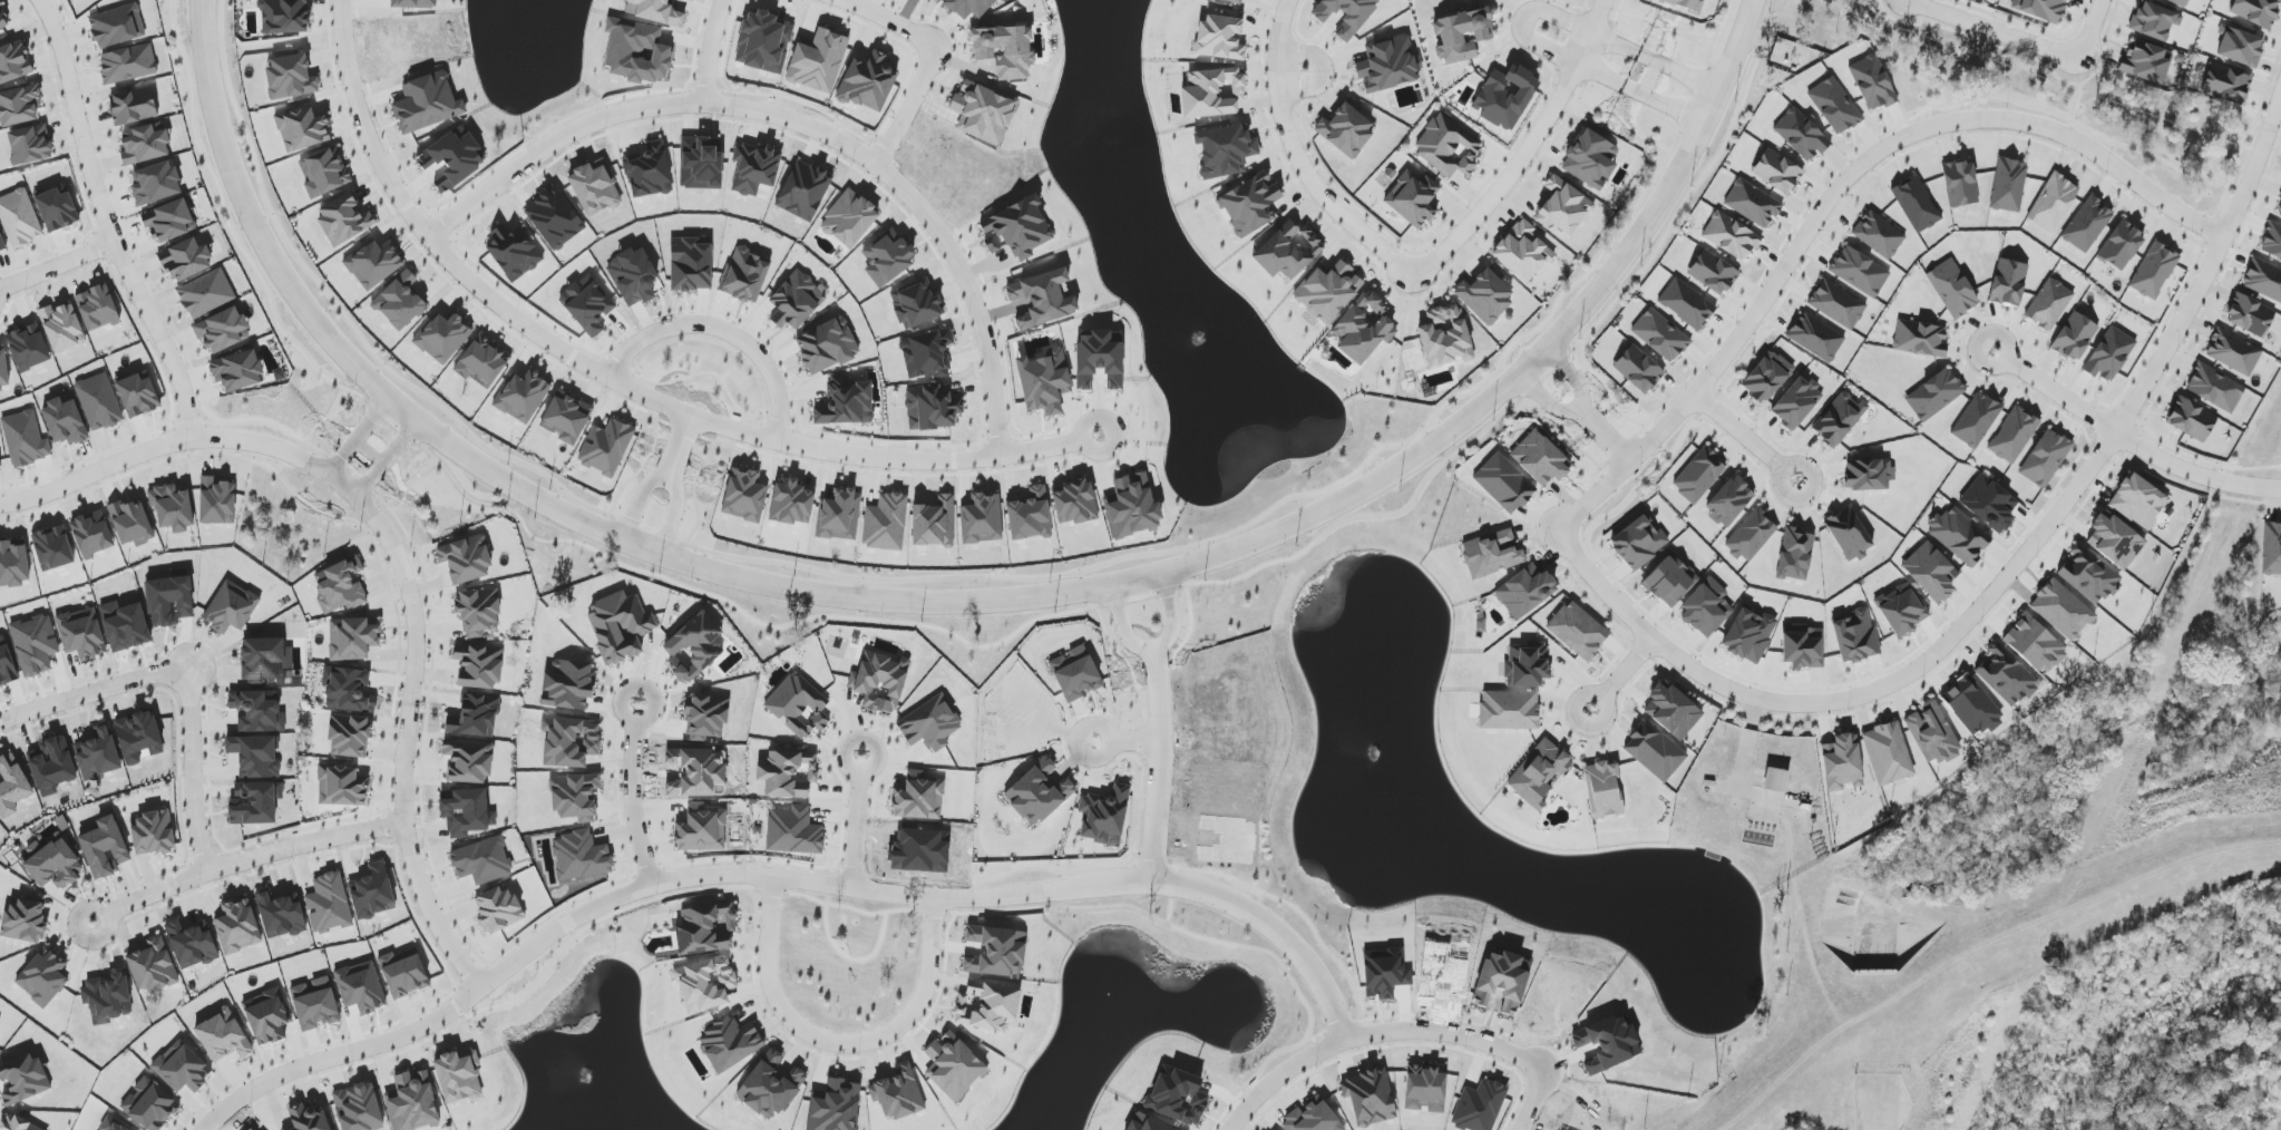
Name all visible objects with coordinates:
building: (1490, 0)
building: (1235, 1)
building: (2180, 2)
building: (413, 3)
building: (1686, 3)
building: (967, 7)
building: (2041, 9)
building: (655, 11)
building: (2256, 11)
building: (1346, 14)
road: (1950, 14)
building: (284, 17)
building: (3, 20)
road: (1522, 21)
building: (2154, 21)
building: (117, 26)
road: (2108, 28)
building: (1462, 35)
building: (1220, 38)
building: (763, 42)
road: (1987, 42)
building: (2240, 47)
building: (1005, 50)
building: (636, 51)
road: (721, 51)
road: (2068, 55)
road: (2104, 57)
road: (939, 58)
road: (1902, 58)
building: (818, 60)
building: (14, 62)
building: (2146, 62)
building: (128, 64)
building: (1387, 65)
building: (291, 77)
building: (868, 82)
building: (1872, 82)
road: (2082, 84)
building: (2226, 84)
building: (1211, 92)
building: (1505, 97)
building: (427, 103)
building: (19, 105)
building: (134, 106)
building: (1834, 106)
building: (983, 113)
road: (2067, 118)
road: (1898, 120)
road: (812, 126)
building: (302, 128)
building: (1346, 130)
building: (1801, 135)
road: (2244, 140)
building: (145, 144)
building: (30, 145)
building: (1449, 146)
building: (1225, 150)
road: (1528, 152)
road: (1296, 156)
building: (451, 159)
building: (1590, 159)
building: (754, 168)
building: (324, 172)
building: (1777, 172)
building: (155, 183)
building: (1960, 184)
building: (2009, 185)
building: (595, 188)
building: (803, 189)
road: (1836, 192)
building: (1413, 198)
building: (1753, 203)
building: (2053, 203)
building: (1250, 204)
building: (1917, 204)
building: (1563, 207)
building: (2279, 208)
building: (57, 210)
building: (19, 217)
building: (849, 218)
building: (344, 220)
building: (169, 221)
road: (105, 223)
building: (2087, 224)
building: (1016, 228)
building: (1731, 236)
building: (2272, 241)
building: (1, 244)
building: (2121, 245)
building: (1288, 251)
building: (1522, 251)
building: (514, 252)
road: (460, 257)
building: (186, 260)
building: (373, 263)
building: (691, 264)
road: (57, 267)
building: (2154, 271)
building: (1713, 272)
building: (1860, 272)
building: (745, 276)
building: (2263, 280)
building: (2009, 282)
building: (1952, 289)
building: (1327, 290)
building: (206, 294)
building: (1485, 296)
building: (1042, 299)
building: (796, 301)
building: (399, 302)
building: (1686, 303)
building: (587, 304)
building: (916, 304)
building: (1838, 304)
building: (2049, 304)
building: (97, 308)
building: (2250, 315)
building: (62, 328)
building: (1363, 328)
road: (735, 330)
building: (223, 331)
building: (1660, 335)
fountain: (1203, 337)
building: (1445, 337)
building: (1816, 337)
building: (2075, 337)
building: (443, 338)
building: (1920, 339)
building: (29, 348)
building: (2233, 352)
building: (2109, 354)
building: (1100, 359)
building: (482, 362)
building: (1638, 369)
building: (3, 370)
building: (237, 370)
building: (1766, 377)
building: (1044, 381)
building: (2215, 388)
building: (138, 394)
building: (1934, 394)
building: (523, 397)
building: (99, 402)
building: (1796, 402)
building: (847, 406)
building: (932, 408)
road: (1579, 408)
building: (567, 418)
building: (1839, 419)
building: (2191, 419)
building: (1976, 420)
building: (65, 422)
road: (1606, 435)
road: (357, 436)
building: (2014, 436)
road: (1747, 437)
building: (25, 439)
road: (2127, 439)
building: (606, 447)
road: (831, 450)
road: (369, 451)
building: (2045, 458)
road: (2197, 458)
road: (387, 459)
building: (1540, 459)
building: (0, 465)
building: (1698, 475)
building: (1869, 475)
building: (1504, 484)
road: (354, 495)
building: (744, 496)
building: (217, 501)
building: (1729, 501)
building: (2138, 501)
building: (791, 503)
building: (1074, 503)
building: (173, 507)
building: (1132, 507)
building: (1030, 515)
building: (839, 516)
building: (983, 519)
building: (131, 523)
building: (885, 523)
building: (934, 523)
building: (92, 534)
building: (1751, 535)
building: (1849, 535)
building: (1959, 535)
building: (2115, 539)
building: (1639, 543)
building: (52, 548)
building: (2271, 549)
building: (1492, 553)
building: (1795, 555)
building: (465, 559)
building: (13, 563)
building: (1931, 572)
building: (2088, 575)
road: (2005, 578)
building: (1670, 581)
building: (341, 587)
building: (1525, 591)
building: (169, 601)
road: (955, 602)
building: (231, 607)
building: (1706, 607)
building: (2061, 610)
building: (478, 611)
building: (125, 625)
building: (620, 626)
building: (1578, 631)
building: (81, 633)
building: (1749, 634)
building: (1855, 636)
building: (352, 637)
building: (2034, 643)
building: (35, 644)
building: (693, 646)
building: (1804, 647)
road: (1154, 649)
building: (266, 661)
building: (7, 664)
building: (1527, 665)
building: (479, 666)
building: (1075, 674)
road: (1624, 674)
building: (2006, 676)
building: (881, 681)
building: (568, 685)
building: (349, 690)
road: (90, 692)
building: (799, 705)
building: (1971, 707)
building: (1509, 710)
building: (257, 711)
building: (1673, 711)
building: (475, 717)
building: (930, 724)
building: (1932, 733)
building: (349, 736)
building: (138, 737)
building: (569, 742)
road: (1080, 742)
road: (1134, 742)
building: (1655, 751)
building: (1888, 753)
building: (99, 754)
building: (255, 756)
building: (468, 761)
building: (1842, 762)
building: (51, 766)
road: (1157, 767)
building: (1539, 772)
building: (789, 773)
road: (192, 775)
building: (1776, 780)
building: (11, 786)
building: (341, 786)
building: (1603, 789)
building: (1037, 793)
road: (630, 795)
building: (575, 797)
building: (919, 797)
building: (255, 802)
building: (467, 812)
building: (1104, 816)
road: (855, 819)
building: (701, 829)
building: (793, 831)
building: (153, 832)
building: (105, 848)
building: (579, 856)
road: (245, 860)
building: (481, 861)
building: (56, 865)
building: (373, 893)
road: (2162, 893)
road: (976, 898)
building: (329, 904)
building: (497, 909)
building: (280, 914)
building: (25, 919)
building: (238, 927)
road: (437, 927)
building: (706, 929)
building: (189, 945)
road: (514, 959)
building: (153, 966)
building: (403, 973)
building: (43, 977)
building: (705, 984)
building: (361, 987)
building: (107, 999)
building: (314, 1004)
building: (987, 1005)
building: (267, 1016)
road: (1403, 1030)
building: (223, 1035)
building: (729, 1042)
road: (835, 1042)
road: (341, 1058)
building: (182, 1069)
building: (459, 1077)
building: (770, 1087)
building: (1426, 1089)
building: (897, 1093)
building: (412, 1102)
building: (150, 1105)
building: (358, 1108)
building: (1312, 1118)
building: (308, 1119)
building: (105, 1128)

